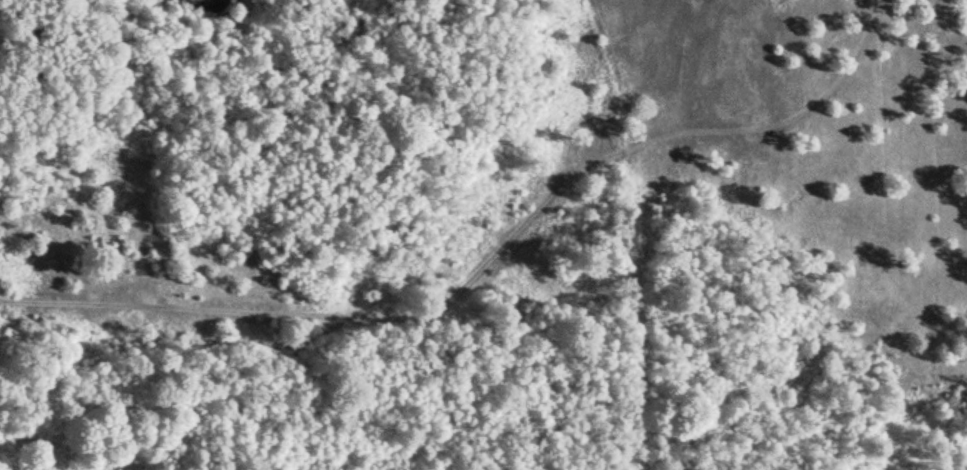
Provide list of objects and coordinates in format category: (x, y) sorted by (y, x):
road: (808, 113)
road: (372, 317)

